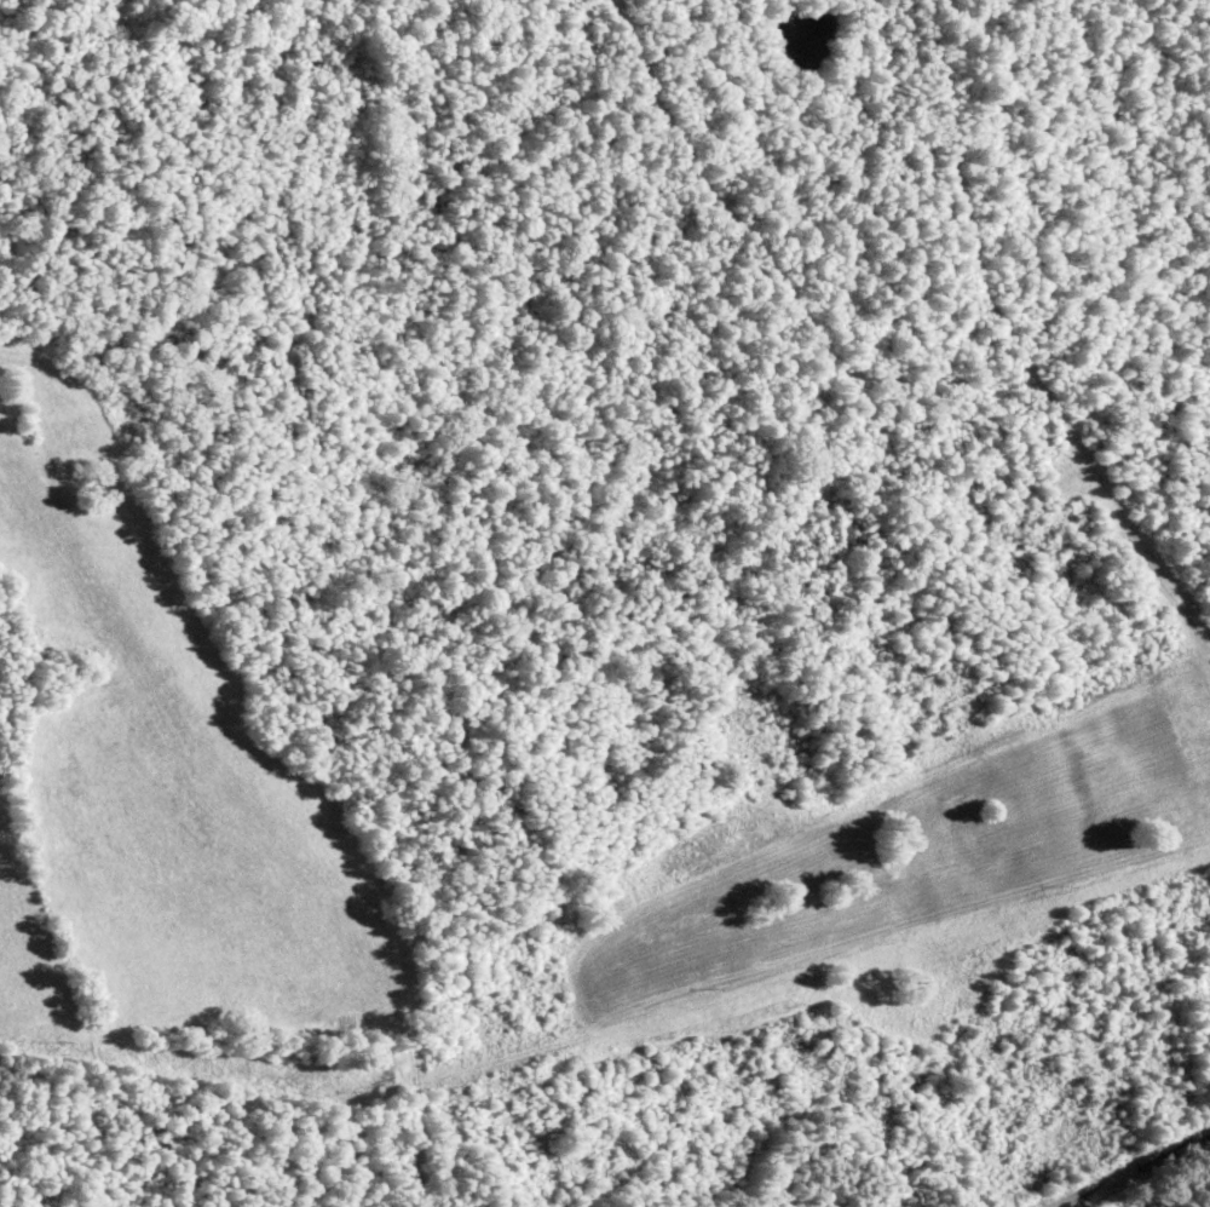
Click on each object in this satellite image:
road: (852, 1191)

